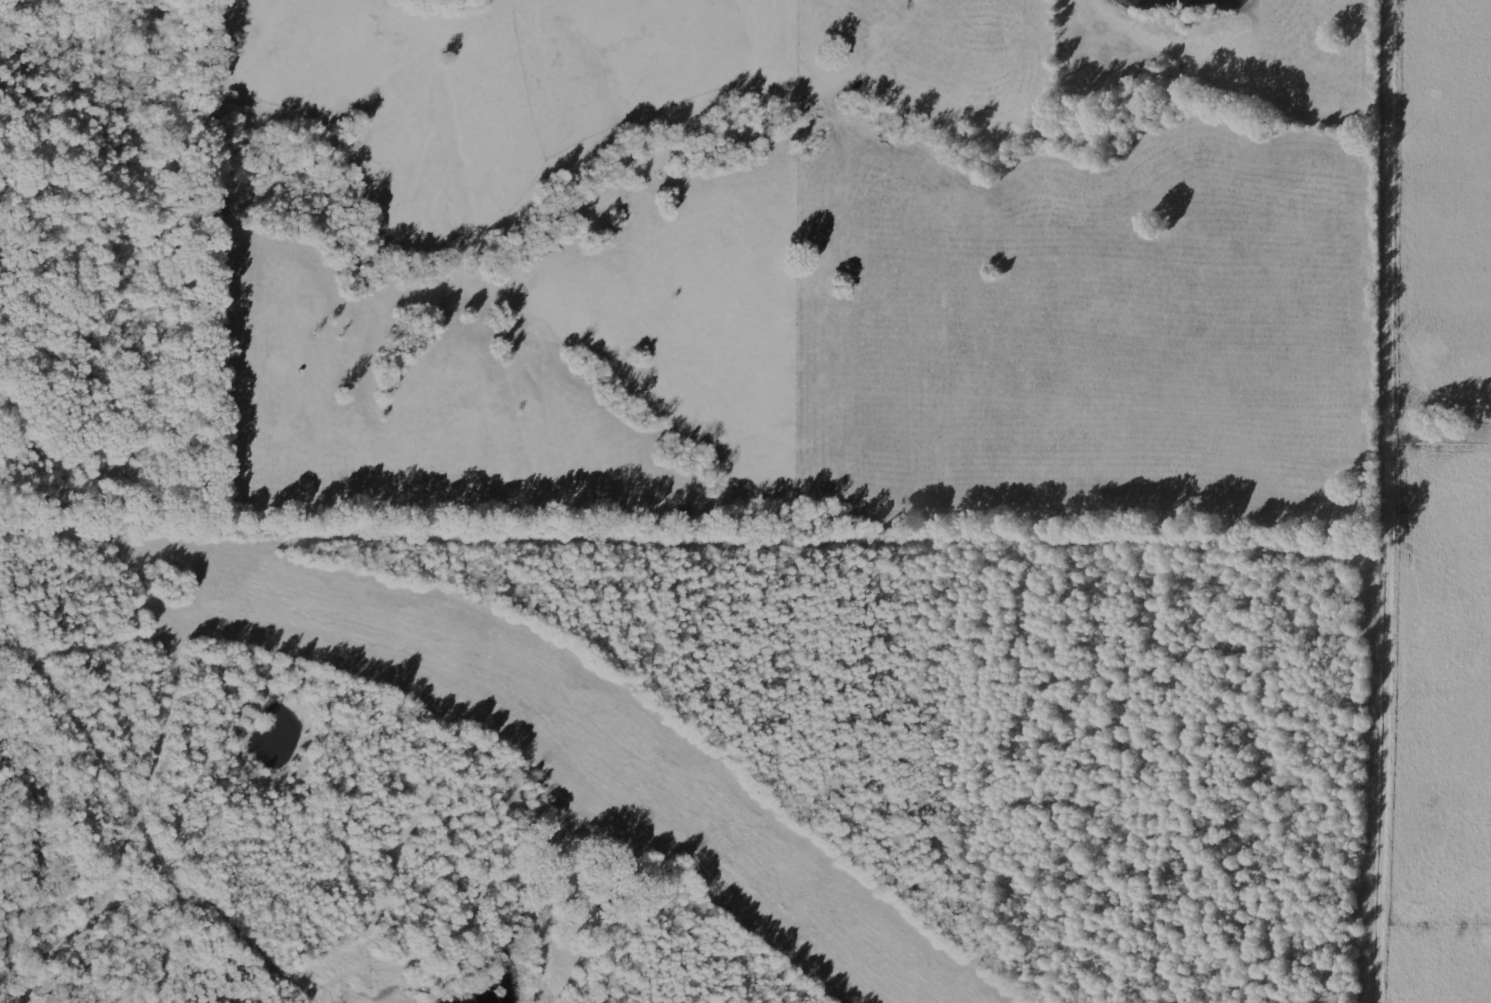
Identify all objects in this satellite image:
road: (1397, 501)

